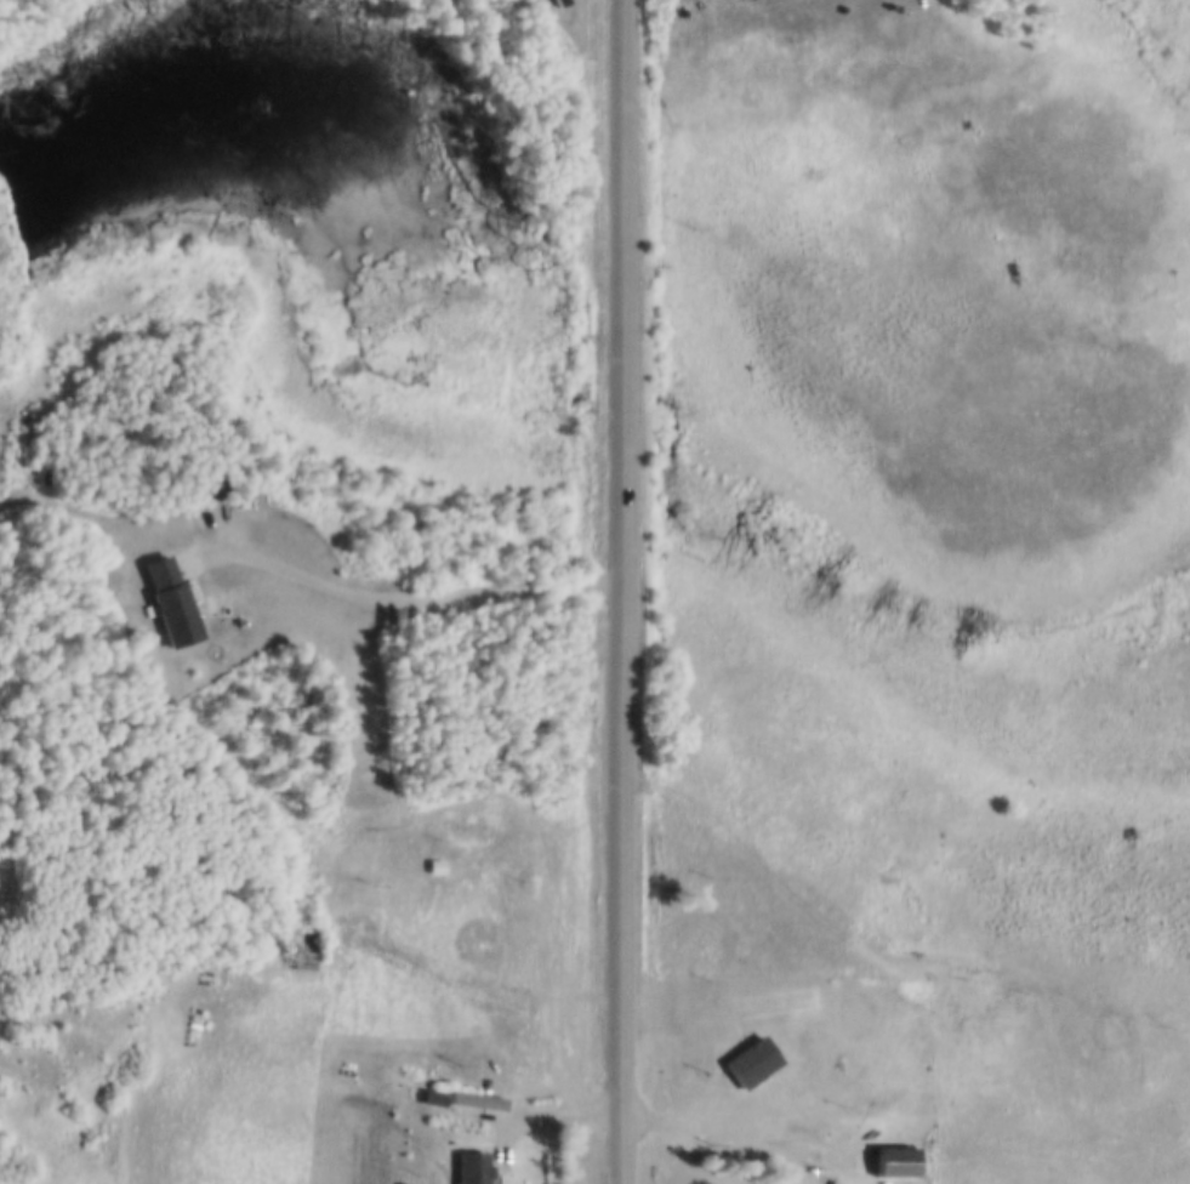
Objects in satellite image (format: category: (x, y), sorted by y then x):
building: (554, 11)
building: (210, 483)
road: (622, 591)
building: (175, 599)
road: (416, 605)
building: (467, 825)
building: (306, 957)
building: (751, 1059)
building: (432, 1094)
building: (476, 1098)
building: (428, 1102)
road: (719, 1111)
building: (875, 1134)
building: (894, 1160)
building: (471, 1166)
building: (402, 1183)

